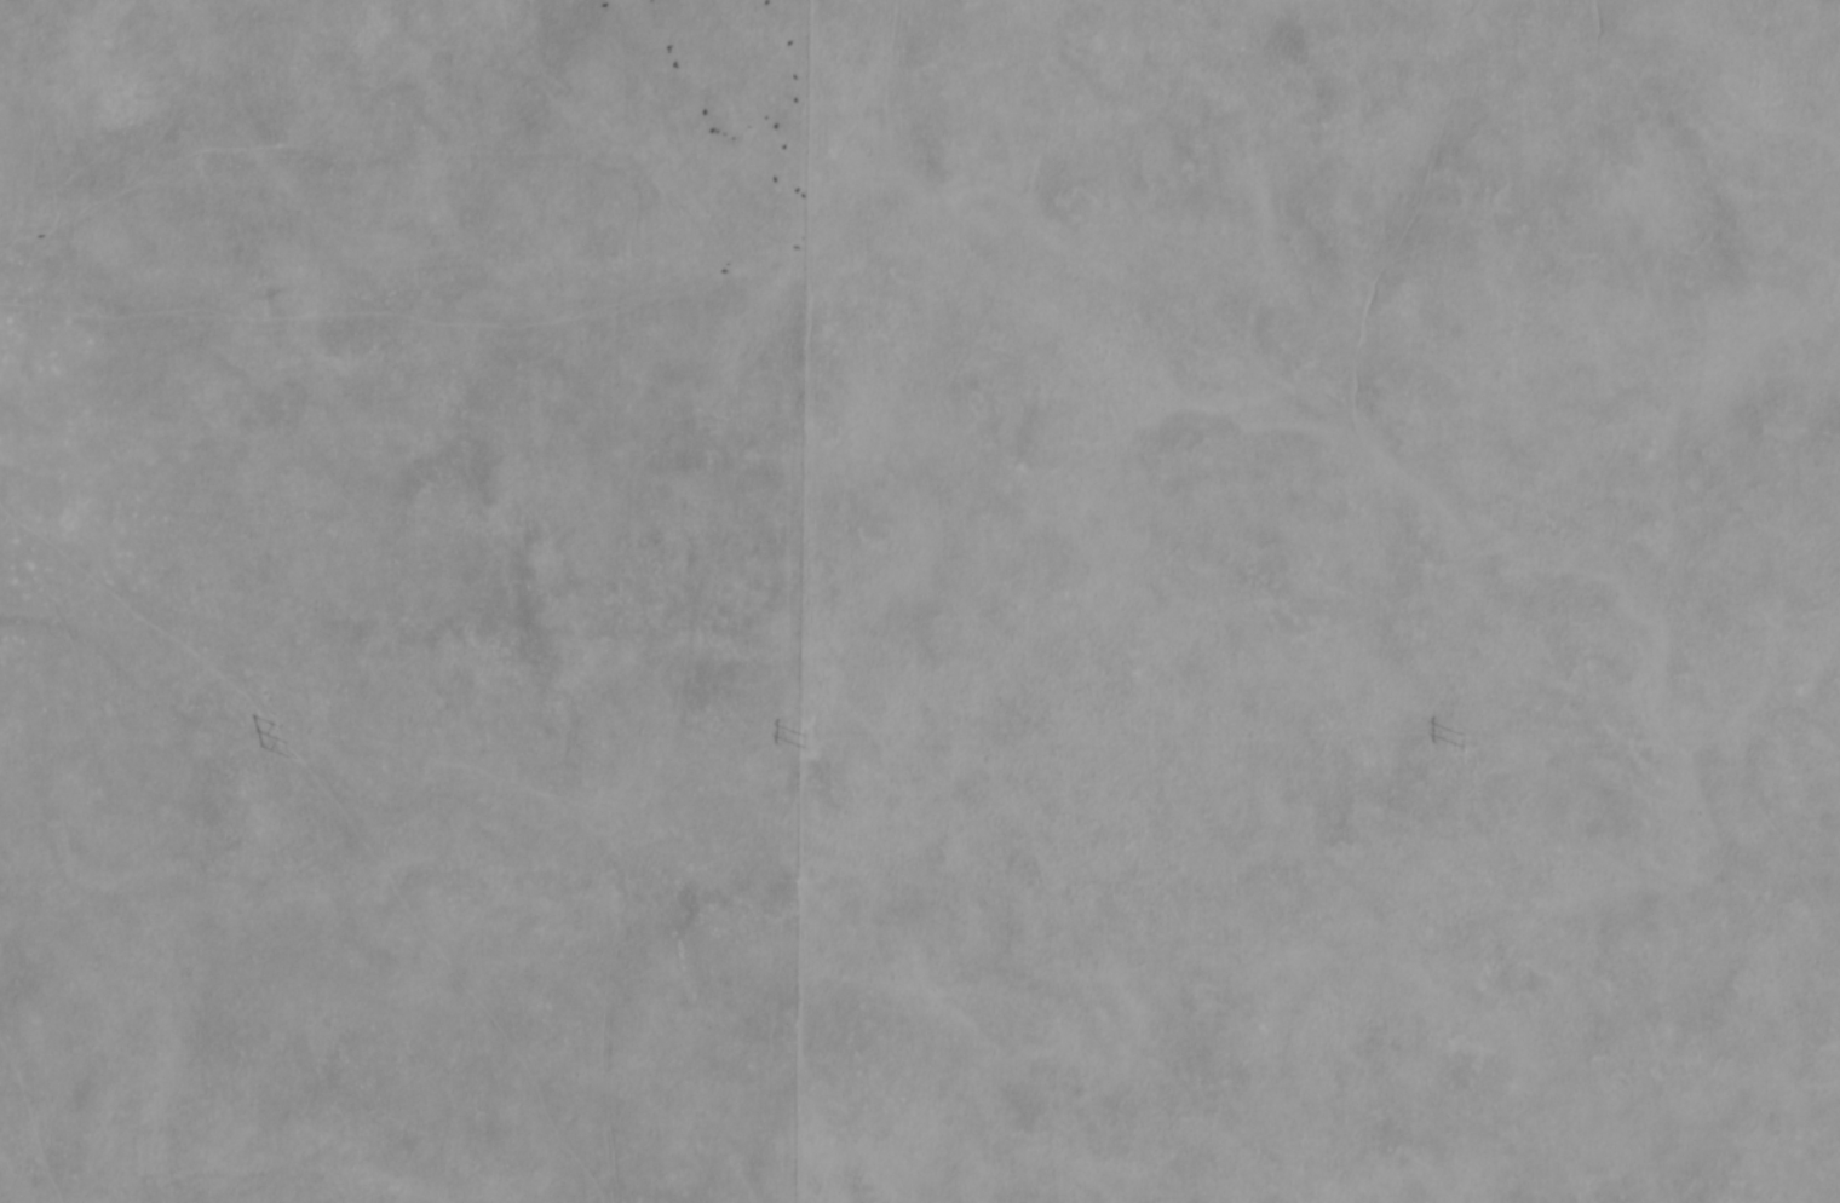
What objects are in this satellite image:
power tower: (800, 742)
power tower: (1457, 742)
power tower: (282, 743)

